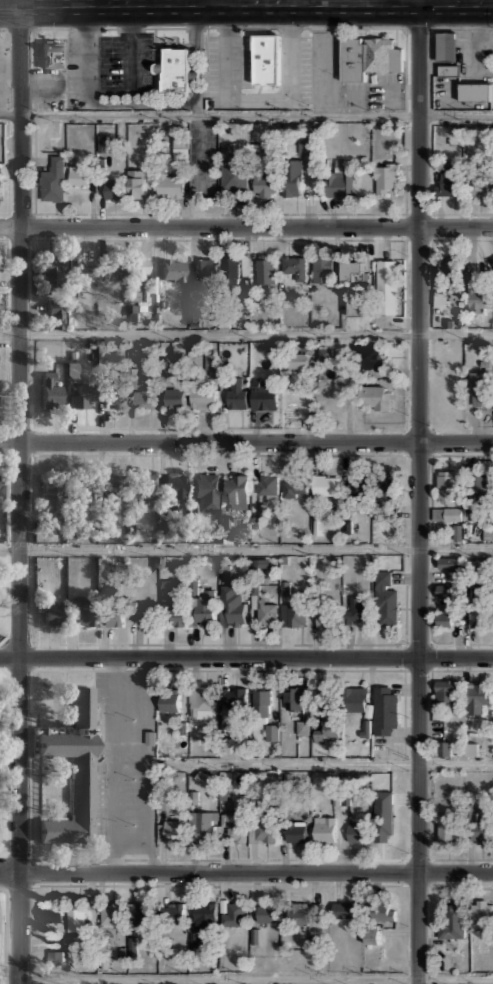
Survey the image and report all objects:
road: (213, 0)
road: (246, 1)
building: (445, 46)
building: (53, 51)
building: (368, 57)
building: (264, 60)
parking lot: (227, 63)
parking lot: (109, 64)
building: (176, 68)
parking lot: (304, 69)
building: (449, 70)
building: (473, 92)
road: (246, 115)
building: (181, 142)
building: (102, 143)
building: (308, 145)
building: (227, 150)
building: (78, 174)
building: (233, 177)
building: (291, 177)
building: (387, 177)
building: (53, 178)
building: (449, 179)
building: (341, 181)
building: (0, 182)
building: (137, 182)
building: (170, 184)
building: (478, 184)
building: (264, 185)
building: (113, 189)
road: (3, 213)
road: (246, 227)
road: (6, 238)
building: (295, 266)
building: (322, 267)
building: (138, 268)
building: (449, 268)
building: (114, 269)
building: (172, 269)
building: (230, 269)
building: (266, 269)
building: (354, 270)
building: (51, 271)
building: (204, 272)
building: (79, 274)
building: (386, 286)
building: (443, 298)
building: (480, 298)
building: (359, 308)
building: (56, 316)
road: (246, 332)
building: (325, 354)
building: (368, 354)
building: (298, 359)
building: (211, 360)
building: (479, 388)
building: (146, 389)
building: (265, 391)
building: (237, 392)
building: (51, 396)
building: (79, 396)
building: (202, 396)
building: (114, 397)
building: (174, 397)
building: (376, 397)
road: (2, 428)
road: (3, 428)
road: (111, 428)
road: (246, 443)
road: (219, 453)
road: (1, 454)
road: (462, 454)
building: (325, 484)
building: (356, 484)
building: (205, 485)
building: (268, 485)
building: (447, 485)
building: (294, 486)
building: (0, 487)
building: (143, 487)
building: (175, 487)
building: (387, 487)
building: (83, 488)
building: (113, 488)
building: (235, 488)
building: (479, 489)
road: (20, 492)
road: (418, 492)
road: (430, 497)
road: (33, 498)
building: (51, 499)
building: (447, 513)
building: (225, 529)
building: (457, 532)
road: (246, 547)
building: (449, 561)
building: (258, 562)
building: (225, 572)
building: (444, 589)
road: (9, 599)
building: (385, 599)
building: (173, 600)
building: (232, 603)
building: (479, 606)
building: (205, 607)
building: (355, 608)
building: (82, 611)
building: (266, 611)
building: (51, 613)
building: (145, 613)
building: (114, 614)
building: (293, 614)
building: (325, 616)
building: (445, 618)
road: (257, 643)
road: (474, 644)
road: (246, 658)
road: (4, 669)
building: (448, 692)
building: (234, 696)
building: (297, 697)
building: (478, 697)
building: (356, 698)
building: (262, 700)
park: (4, 701)
building: (169, 702)
building: (202, 703)
building: (386, 710)
road: (33, 722)
building: (303, 727)
building: (326, 729)
building: (272, 731)
building: (446, 747)
building: (471, 748)
road: (9, 761)
parking lot: (123, 764)
road: (323, 764)
road: (114, 765)
road: (153, 765)
building: (72, 769)
road: (43, 773)
road: (41, 815)
building: (383, 816)
building: (202, 825)
building: (234, 825)
building: (324, 829)
building: (444, 829)
building: (170, 830)
building: (264, 830)
building: (481, 830)
building: (296, 831)
building: (356, 832)
road: (17, 856)
road: (71, 859)
road: (418, 859)
road: (32, 872)
road: (246, 873)
building: (345, 908)
building: (382, 911)
building: (232, 912)
building: (267, 912)
building: (51, 913)
building: (111, 913)
building: (297, 913)
building: (143, 914)
building: (172, 914)
building: (482, 914)
building: (76, 917)
building: (201, 922)
road: (4, 925)
building: (450, 928)
building: (372, 935)
building: (55, 956)
road: (9, 969)
road: (455, 977)
road: (218, 978)

